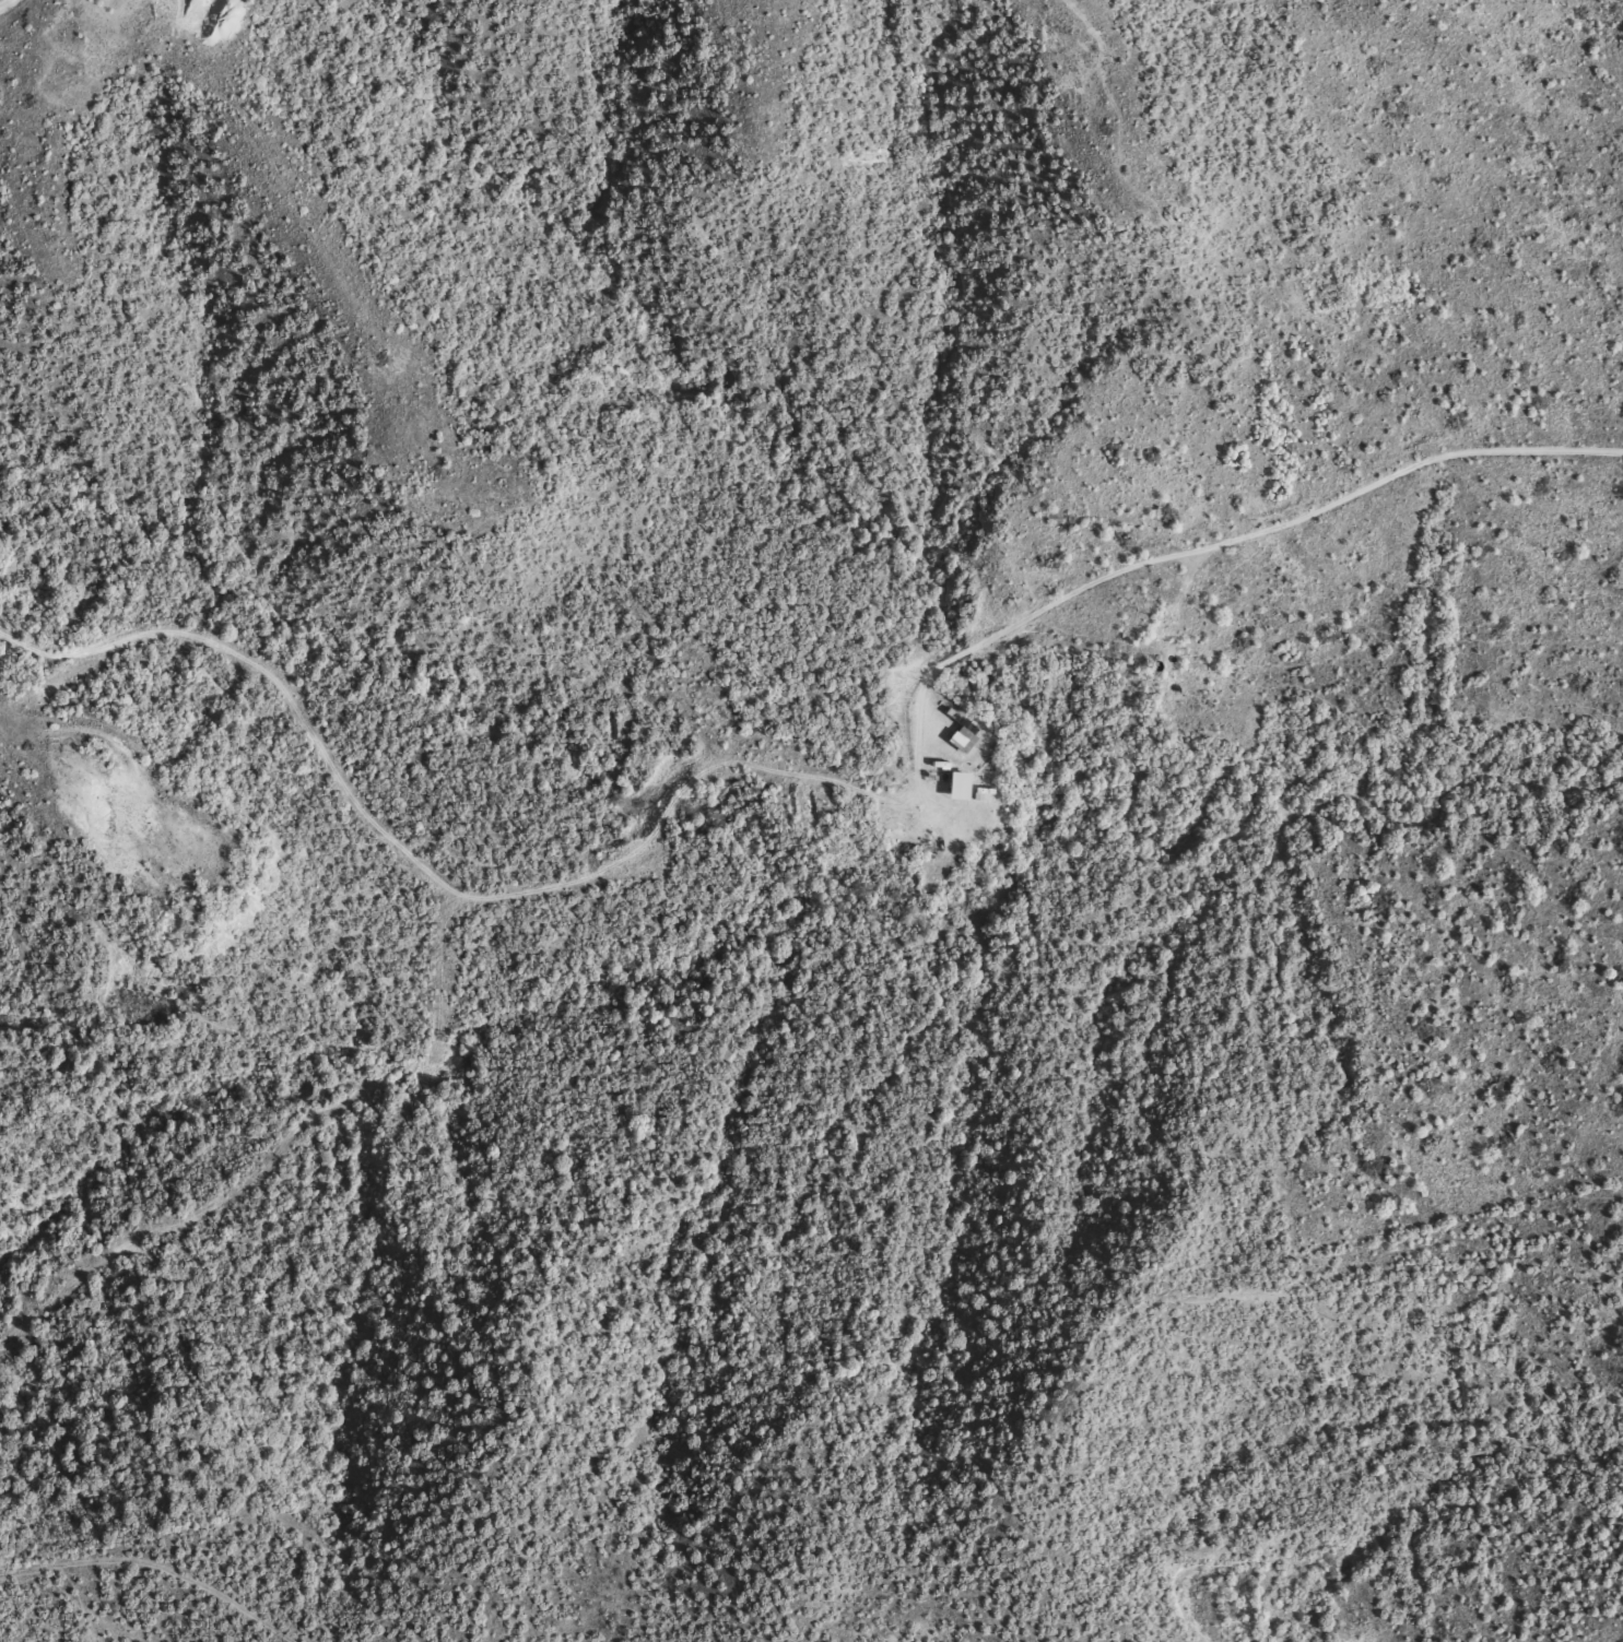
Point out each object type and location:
road: (1392, 476)
building: (969, 787)
road: (614, 863)

